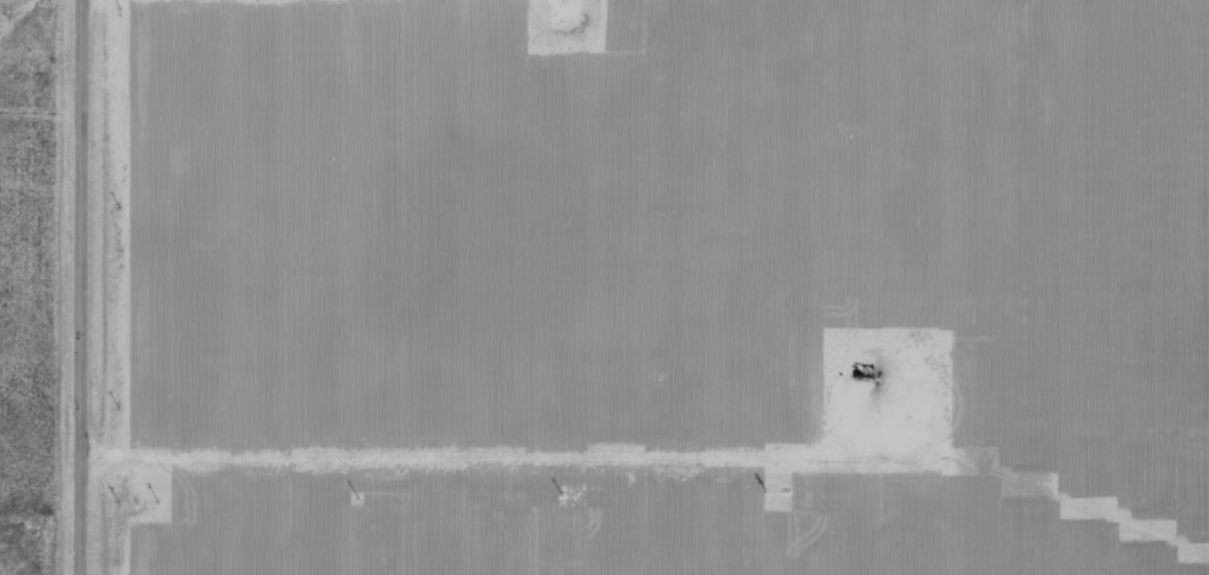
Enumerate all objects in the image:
road: (93, 287)
petroleum well: (869, 371)

